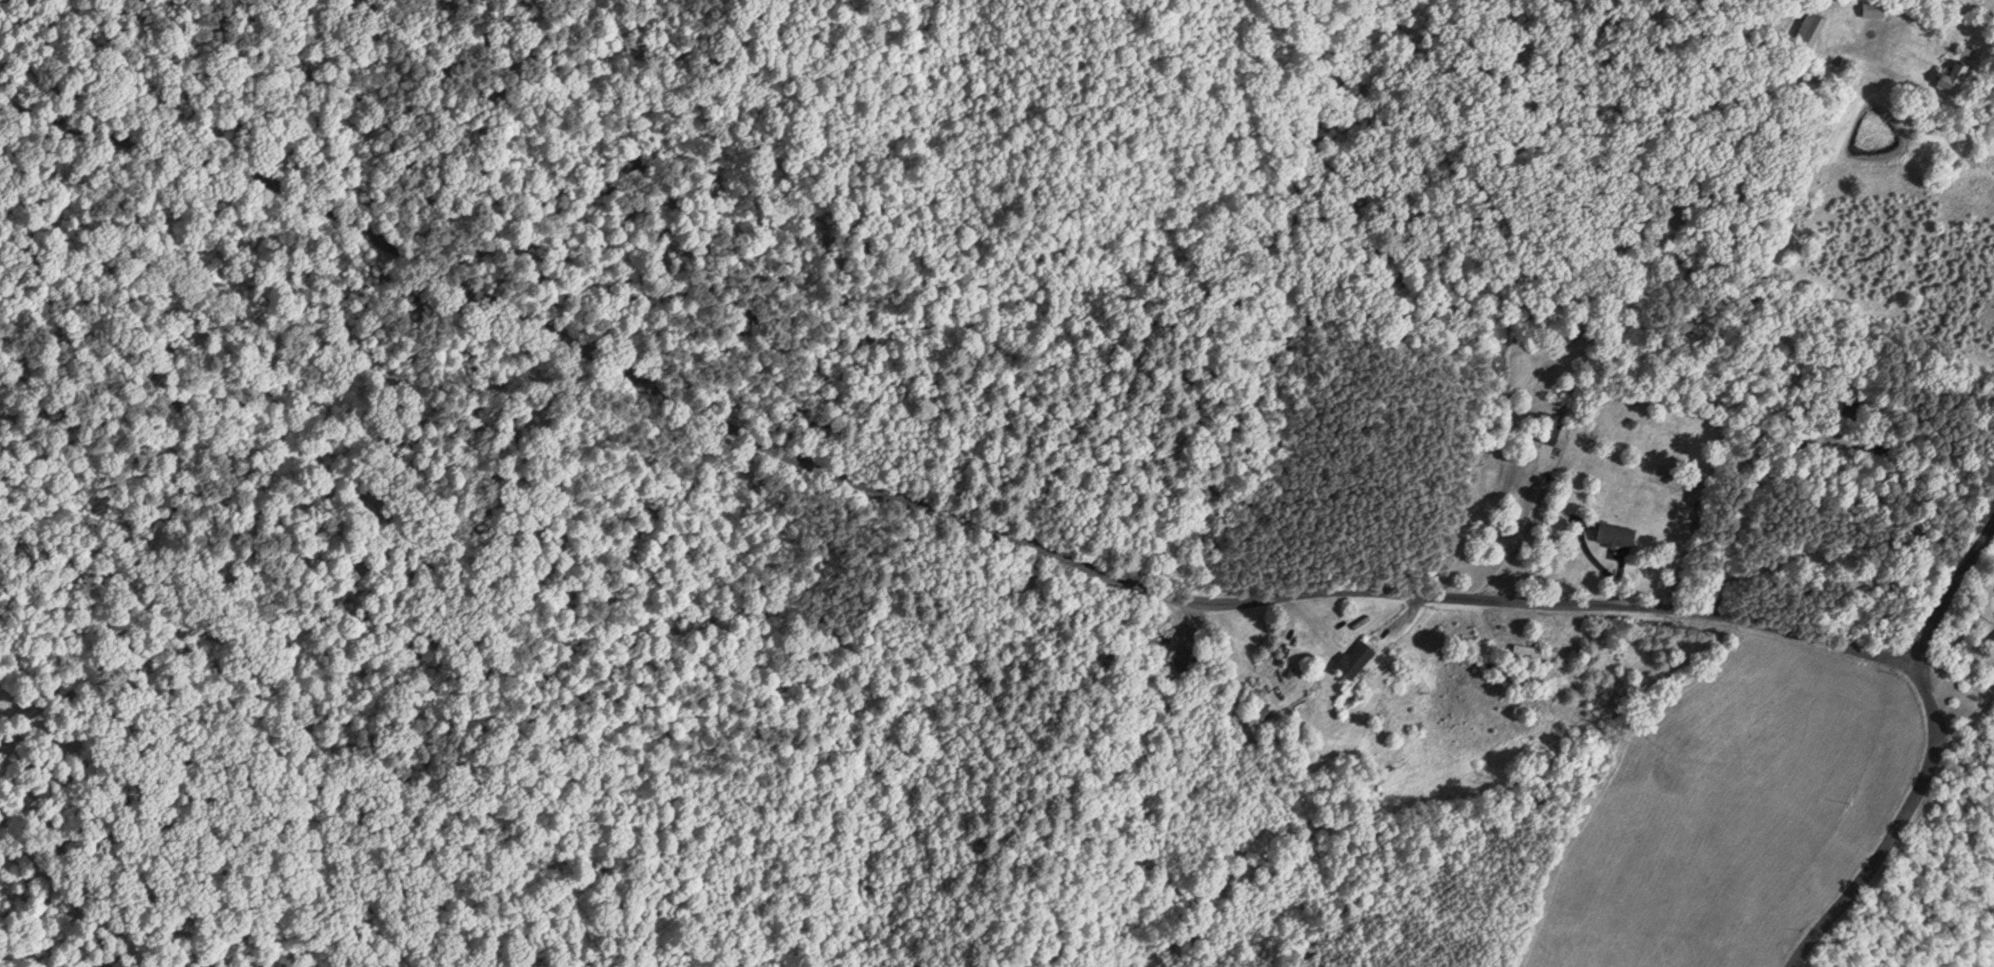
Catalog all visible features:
building: (1867, 8)
building: (1806, 28)
building: (1949, 77)
building: (1544, 429)
building: (1667, 479)
road: (926, 512)
road: (1527, 522)
building: (1612, 534)
road: (1951, 593)
building: (1990, 643)
building: (1530, 649)
building: (1347, 657)
road: (1897, 829)

